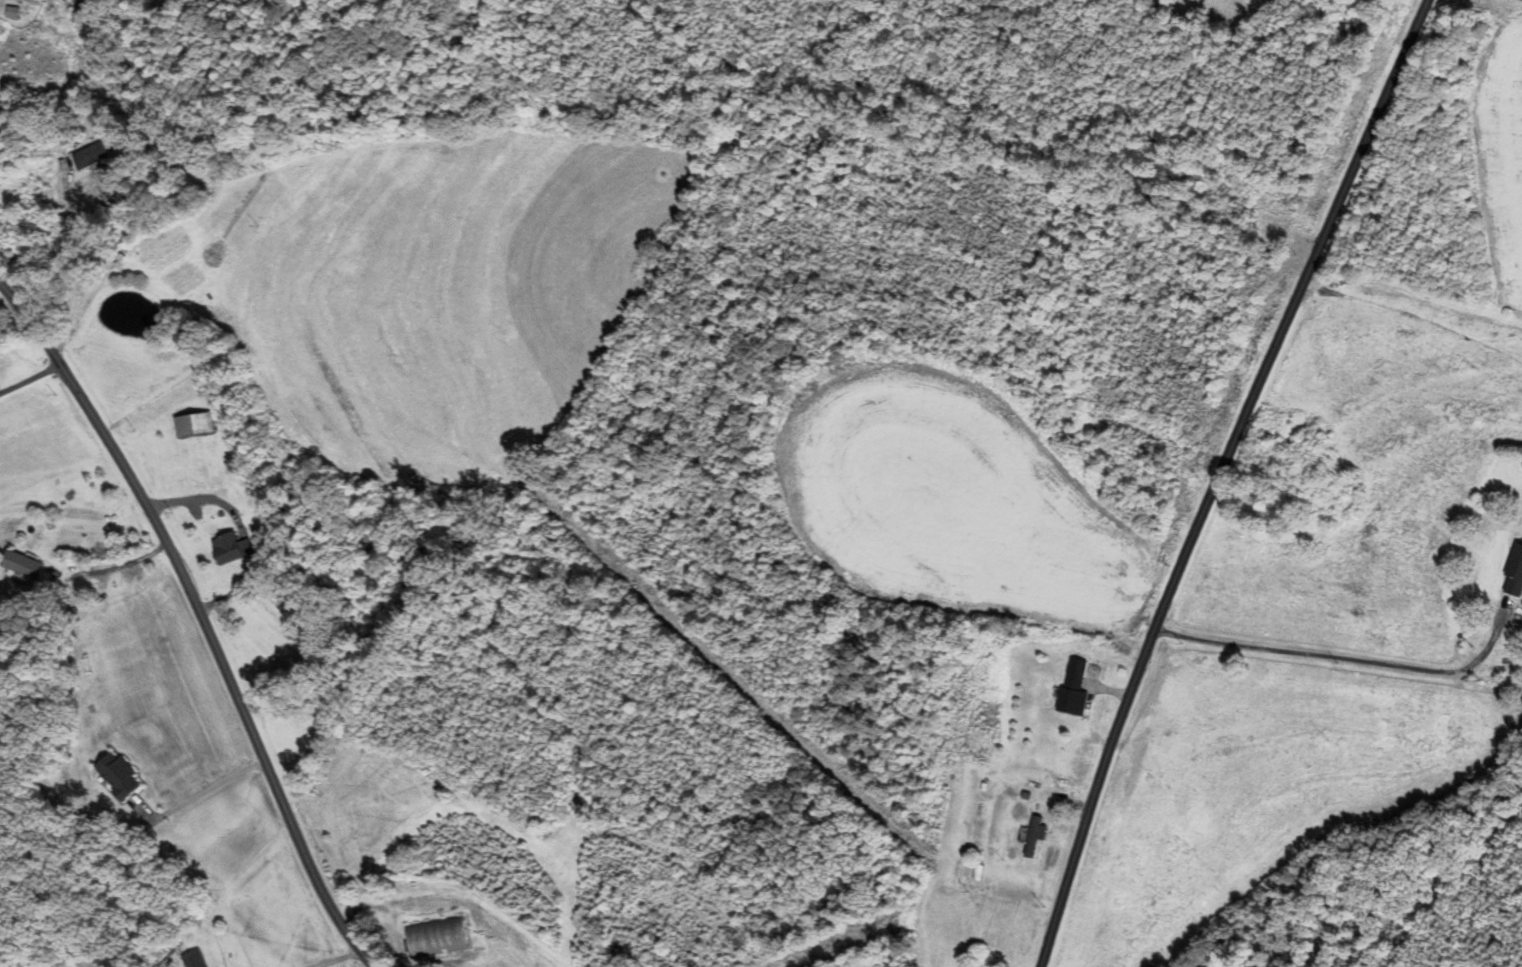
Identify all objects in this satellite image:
building: (85, 10)
building: (91, 154)
building: (1273, 222)
road: (75, 267)
road: (1414, 315)
road: (30, 377)
building: (194, 423)
road: (1216, 478)
building: (223, 485)
building: (232, 546)
building: (25, 562)
building: (1516, 573)
road: (201, 616)
road: (1351, 657)
building: (1015, 666)
building: (1084, 672)
building: (122, 774)
road: (201, 791)
building: (1036, 833)
building: (437, 934)
building: (196, 958)
road: (335, 958)

